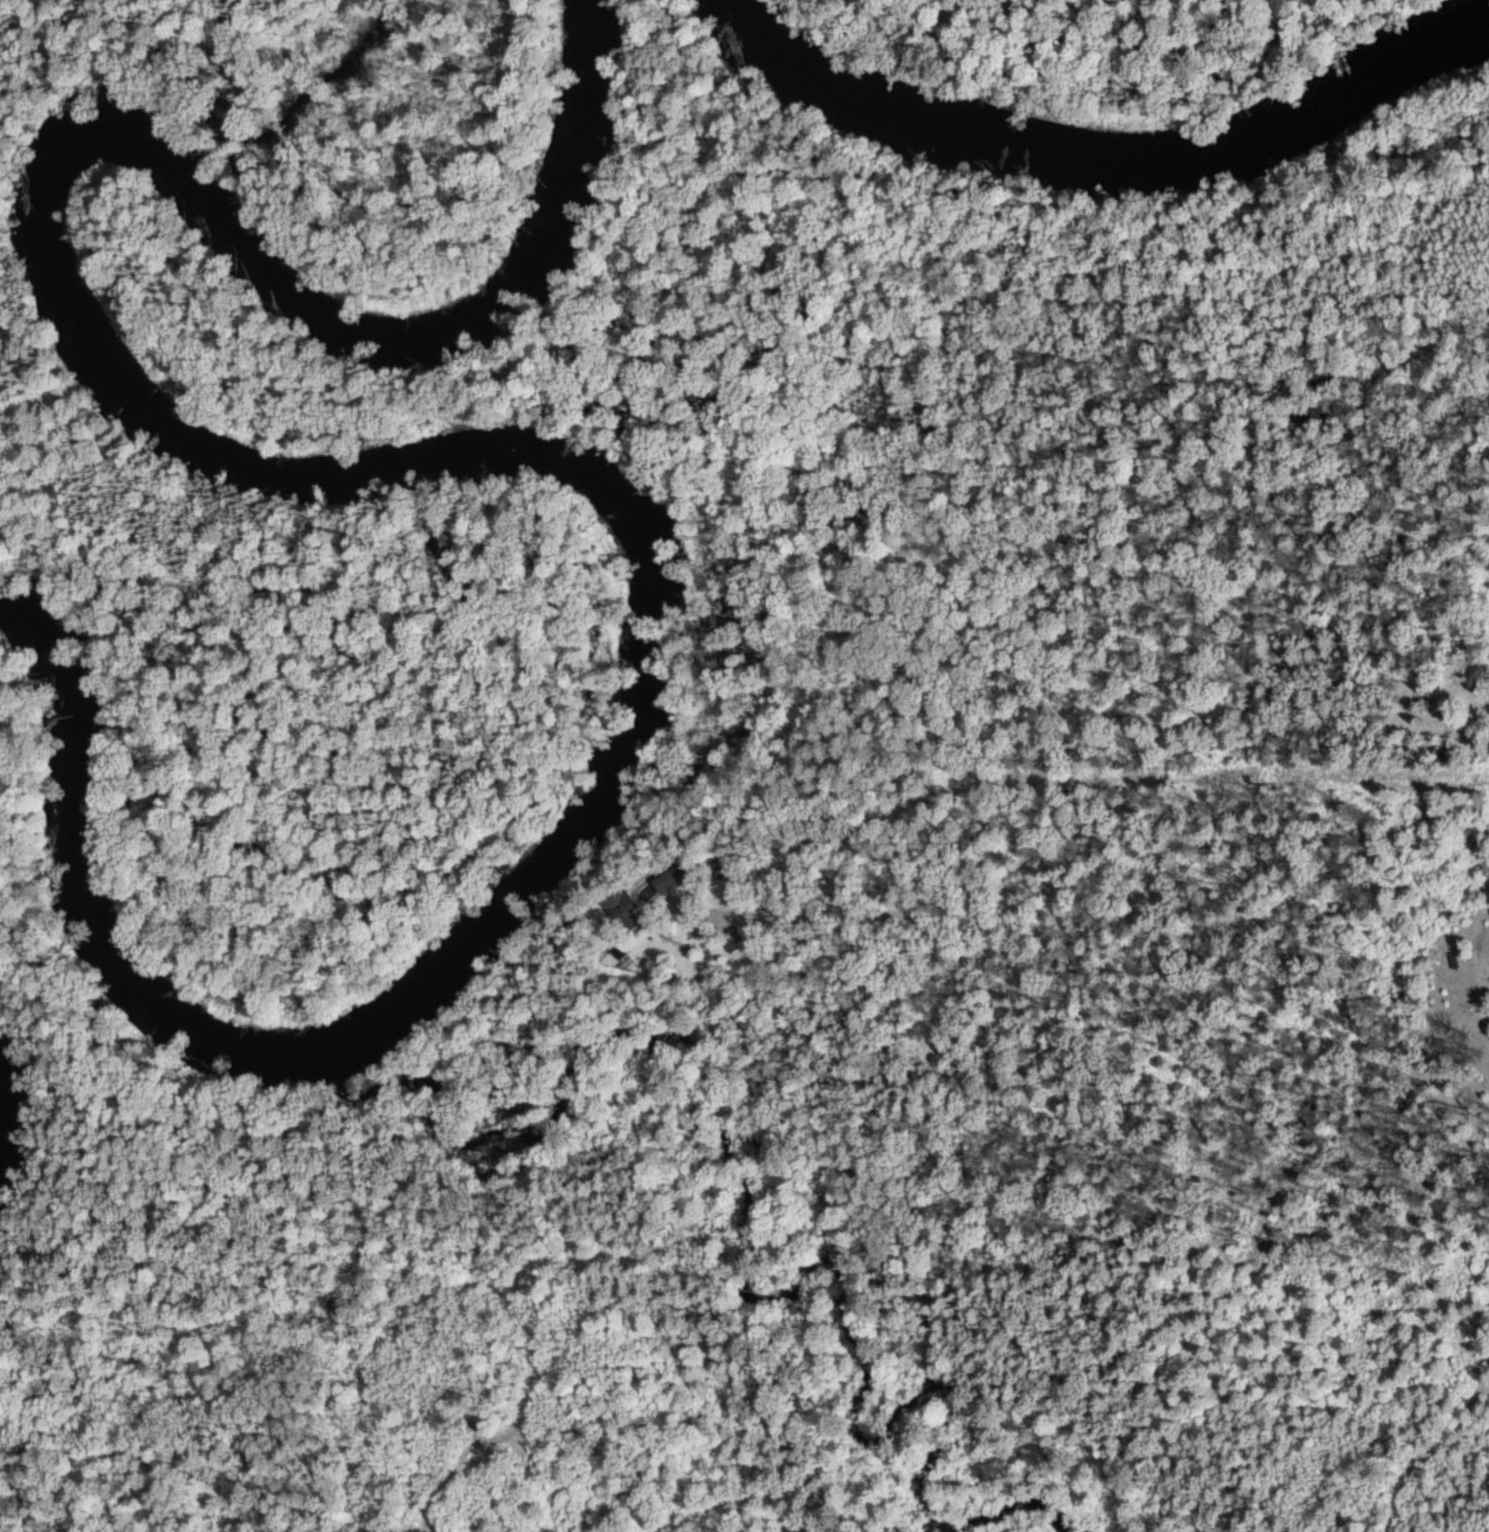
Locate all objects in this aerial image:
river: (1097, 156)
road: (1339, 354)
river: (458, 454)
road: (1469, 616)
road: (1139, 677)
building: (667, 880)
building: (615, 908)

